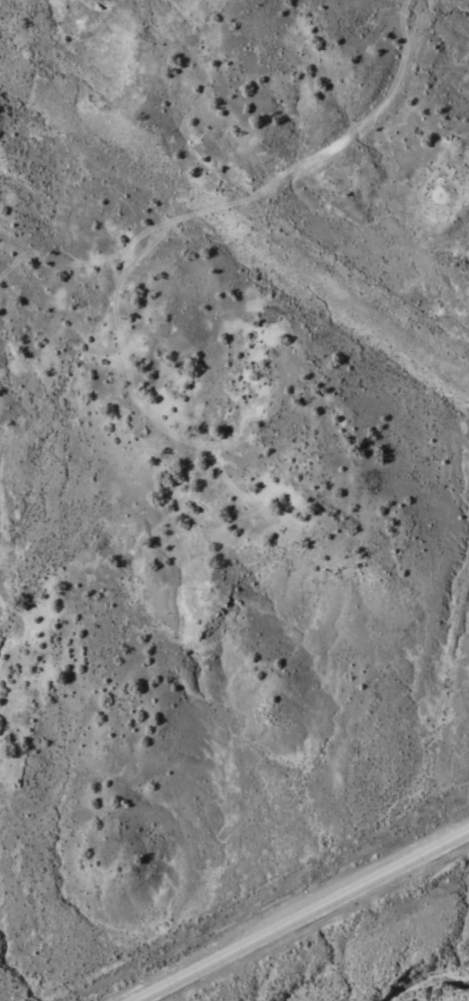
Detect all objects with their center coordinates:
road: (302, 915)

